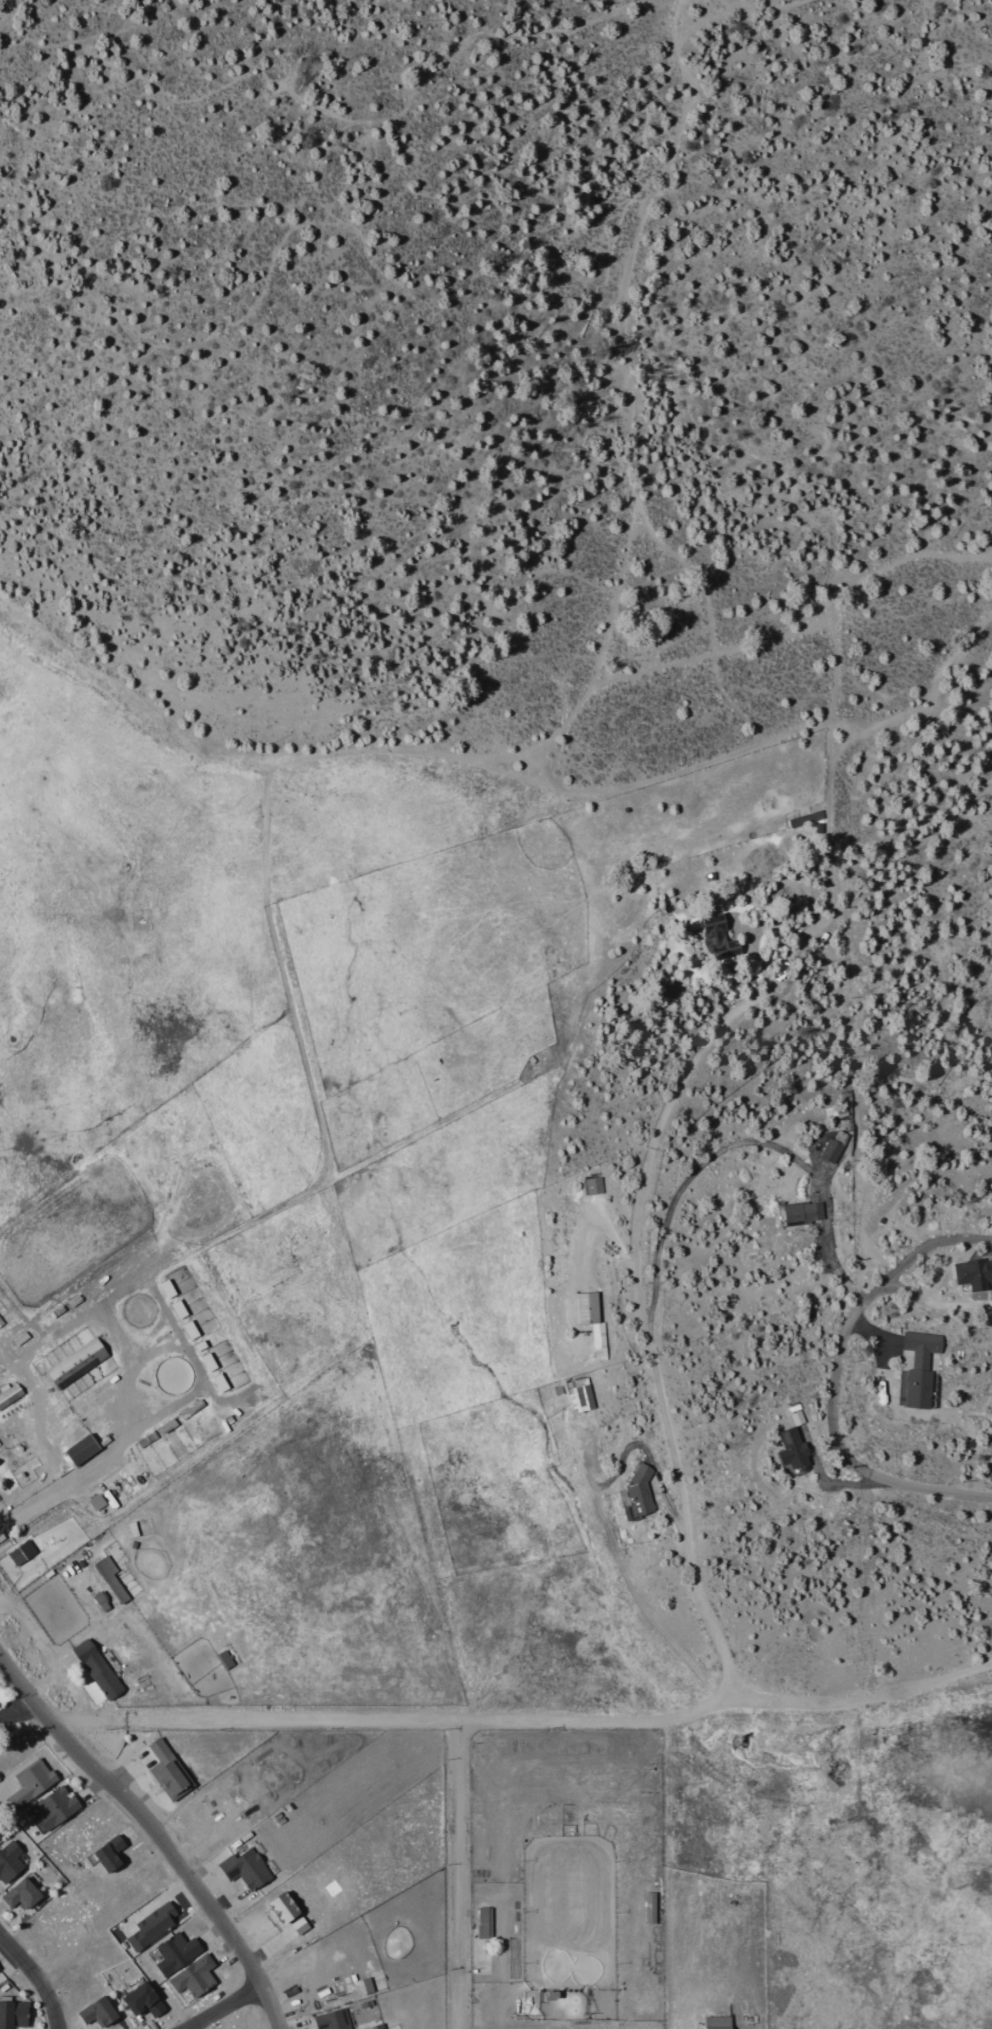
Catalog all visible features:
road: (833, 27)
road: (907, 706)
building: (806, 818)
building: (719, 938)
road: (828, 1132)
building: (834, 1147)
building: (594, 1185)
building: (803, 1212)
road: (654, 1228)
building: (974, 1273)
building: (167, 1288)
building: (179, 1309)
building: (1, 1322)
building: (593, 1322)
building: (190, 1329)
building: (77, 1362)
building: (208, 1362)
building: (920, 1367)
building: (220, 1382)
building: (9, 1394)
building: (580, 1394)
building: (168, 1425)
building: (82, 1450)
building: (793, 1450)
road: (913, 1487)
road: (56, 1491)
building: (639, 1494)
road: (609, 1535)
building: (21, 1552)
building: (110, 1578)
building: (102, 1601)
building: (224, 1660)
building: (98, 1668)
road: (523, 1719)
building: (168, 1770)
building: (31, 1782)
building: (56, 1807)
road: (154, 1831)
building: (110, 1852)
building: (9, 1861)
building: (247, 1867)
road: (455, 1873)
building: (22, 1892)
building: (284, 1906)
building: (650, 1907)
building: (483, 1921)
building: (152, 1925)
building: (300, 1925)
building: (176, 1952)
building: (194, 1976)
road: (36, 1978)
building: (365, 1985)
building: (143, 1999)
road: (225, 2008)
building: (98, 2010)
building: (13, 2013)
building: (333, 2019)
building: (718, 2022)
building: (377, 2026)

